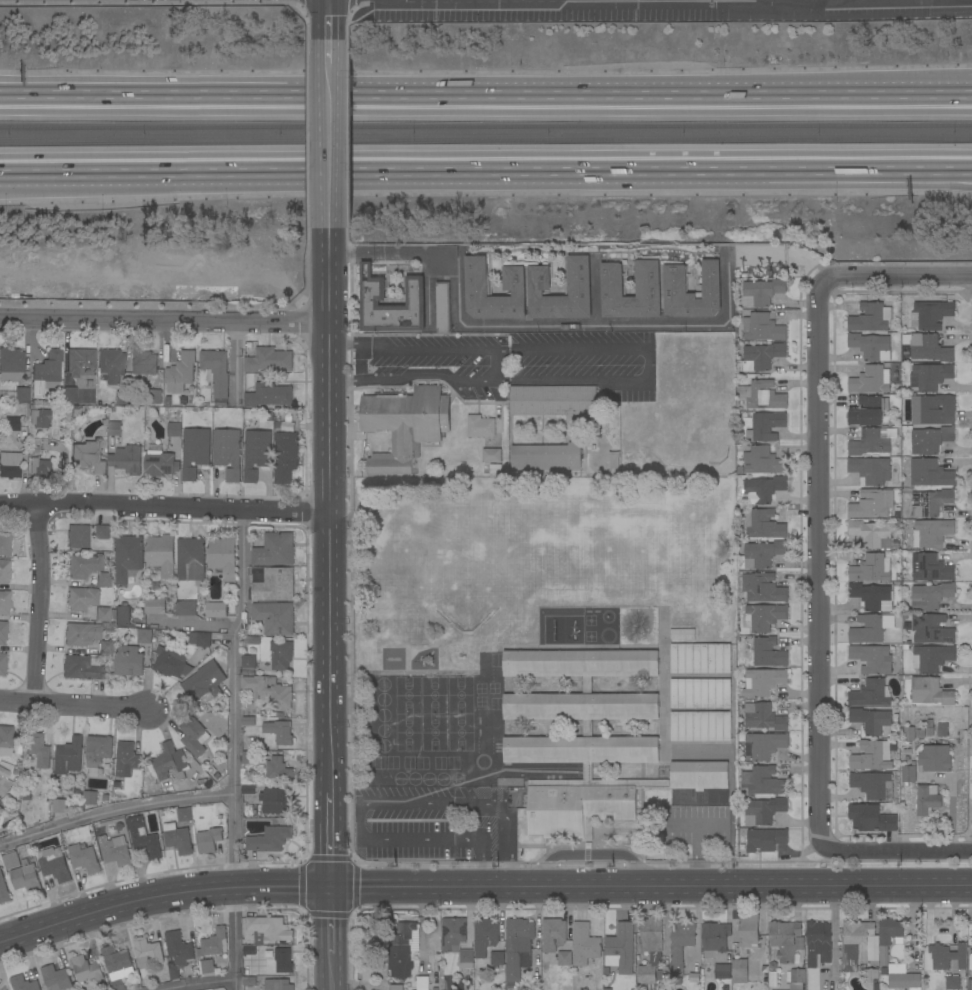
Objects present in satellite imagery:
parking lot: (660, 8)
road: (331, 19)
road: (331, 50)
road: (74, 80)
road: (939, 86)
road: (74, 87)
road: (527, 87)
railway: (486, 126)
railway: (486, 139)
road: (331, 147)
road: (199, 166)
road: (460, 166)
road: (747, 166)
road: (199, 177)
road: (745, 184)
building: (580, 278)
road: (896, 278)
building: (515, 279)
building: (649, 280)
building: (373, 289)
building: (676, 289)
road: (595, 292)
building: (761, 292)
building: (443, 307)
building: (930, 315)
building: (870, 317)
road: (529, 323)
road: (164, 325)
building: (762, 328)
building: (870, 346)
building: (929, 348)
road: (413, 349)
building: (759, 357)
building: (267, 359)
building: (79, 361)
building: (144, 363)
building: (10, 364)
building: (111, 365)
road: (361, 365)
road: (499, 365)
road: (648, 366)
building: (216, 371)
building: (180, 372)
building: (46, 373)
road: (413, 376)
building: (929, 376)
building: (871, 380)
building: (21, 394)
building: (69, 394)
building: (268, 395)
building: (761, 395)
building: (155, 397)
building: (122, 398)
building: (167, 400)
building: (553, 400)
building: (220, 402)
building: (111, 408)
building: (932, 409)
building: (77, 410)
building: (868, 411)
building: (95, 412)
building: (39, 418)
building: (11, 423)
building: (405, 426)
building: (480, 426)
building: (765, 426)
building: (113, 429)
building: (174, 429)
building: (930, 440)
building: (874, 441)
building: (33, 449)
building: (194, 451)
building: (227, 452)
building: (256, 453)
building: (491, 455)
building: (88, 456)
building: (285, 457)
building: (546, 457)
building: (126, 459)
building: (762, 461)
building: (159, 462)
building: (614, 463)
building: (9, 465)
building: (39, 468)
building: (495, 469)
building: (870, 470)
building: (930, 473)
building: (760, 490)
building: (930, 502)
building: (871, 504)
road: (164, 508)
building: (897, 508)
road: (329, 511)
building: (896, 514)
building: (762, 524)
building: (85, 534)
building: (871, 534)
building: (930, 534)
building: (894, 542)
building: (5, 543)
building: (274, 550)
building: (160, 554)
building: (760, 554)
building: (189, 556)
building: (223, 557)
building: (128, 558)
building: (84, 565)
road: (818, 568)
building: (871, 568)
building: (932, 568)
building: (4, 571)
building: (104, 580)
building: (1, 585)
building: (154, 585)
building: (274, 585)
building: (763, 587)
building: (872, 596)
building: (930, 596)
building: (81, 598)
building: (4, 602)
road: (35, 606)
building: (154, 606)
building: (231, 606)
building: (186, 608)
building: (216, 610)
building: (102, 614)
building: (122, 616)
building: (763, 617)
building: (274, 618)
road: (193, 624)
building: (906, 626)
building: (931, 629)
building: (866, 630)
building: (3, 632)
building: (156, 632)
building: (682, 633)
building: (80, 634)
building: (144, 636)
building: (199, 639)
building: (252, 640)
building: (105, 647)
building: (904, 647)
building: (764, 652)
building: (280, 654)
building: (700, 658)
building: (931, 658)
building: (871, 659)
building: (127, 661)
building: (170, 662)
building: (2, 663)
building: (248, 665)
building: (81, 668)
building: (204, 682)
building: (762, 682)
building: (268, 690)
building: (929, 691)
building: (699, 693)
building: (872, 694)
road: (74, 709)
building: (276, 714)
building: (763, 716)
building: (247, 720)
building: (870, 720)
building: (700, 726)
building: (942, 729)
building: (279, 731)
building: (924, 733)
building: (909, 734)
building: (194, 736)
building: (5, 738)
building: (590, 741)
building: (763, 745)
building: (38, 749)
road: (234, 749)
building: (98, 750)
building: (906, 750)
building: (872, 755)
building: (68, 756)
building: (248, 757)
building: (935, 758)
building: (126, 760)
building: (169, 762)
building: (17, 763)
building: (278, 769)
building: (211, 770)
building: (908, 773)
building: (216, 775)
building: (763, 781)
building: (4, 783)
building: (116, 784)
building: (873, 785)
building: (248, 789)
building: (25, 797)
building: (89, 798)
building: (927, 799)
building: (276, 801)
building: (1, 802)
road: (373, 804)
building: (59, 806)
building: (763, 811)
building: (160, 812)
road: (115, 813)
building: (183, 814)
building: (870, 818)
building: (184, 824)
road: (331, 837)
building: (177, 838)
building: (143, 839)
building: (269, 839)
building: (765, 839)
building: (208, 840)
building: (114, 850)
road: (898, 850)
building: (84, 858)
building: (54, 864)
building: (22, 872)
traffic signals: (332, 885)
road: (482, 886)
building: (3, 891)
road: (332, 919)
building: (271, 930)
building: (748, 930)
building: (453, 933)
building: (887, 936)
building: (714, 938)
building: (784, 939)
building: (487, 941)
building: (555, 941)
building: (215, 942)
building: (818, 942)
building: (856, 942)
building: (585, 946)
building: (620, 946)
building: (516, 947)
building: (680, 948)
building: (650, 949)
building: (401, 951)
building: (178, 952)
building: (147, 955)
building: (947, 956)
building: (466, 959)
building: (282, 960)
building: (117, 966)
building: (207, 966)
building: (739, 968)
building: (86, 969)
road: (332, 971)
building: (722, 971)
building: (871, 975)
building: (797, 976)
building: (693, 977)
building: (901, 977)
building: (55, 978)
building: (23, 983)
building: (422, 983)
building: (952, 983)
building: (277, 984)
building: (969, 984)
road: (204, 985)
building: (396, 987)
building: (434, 988)

